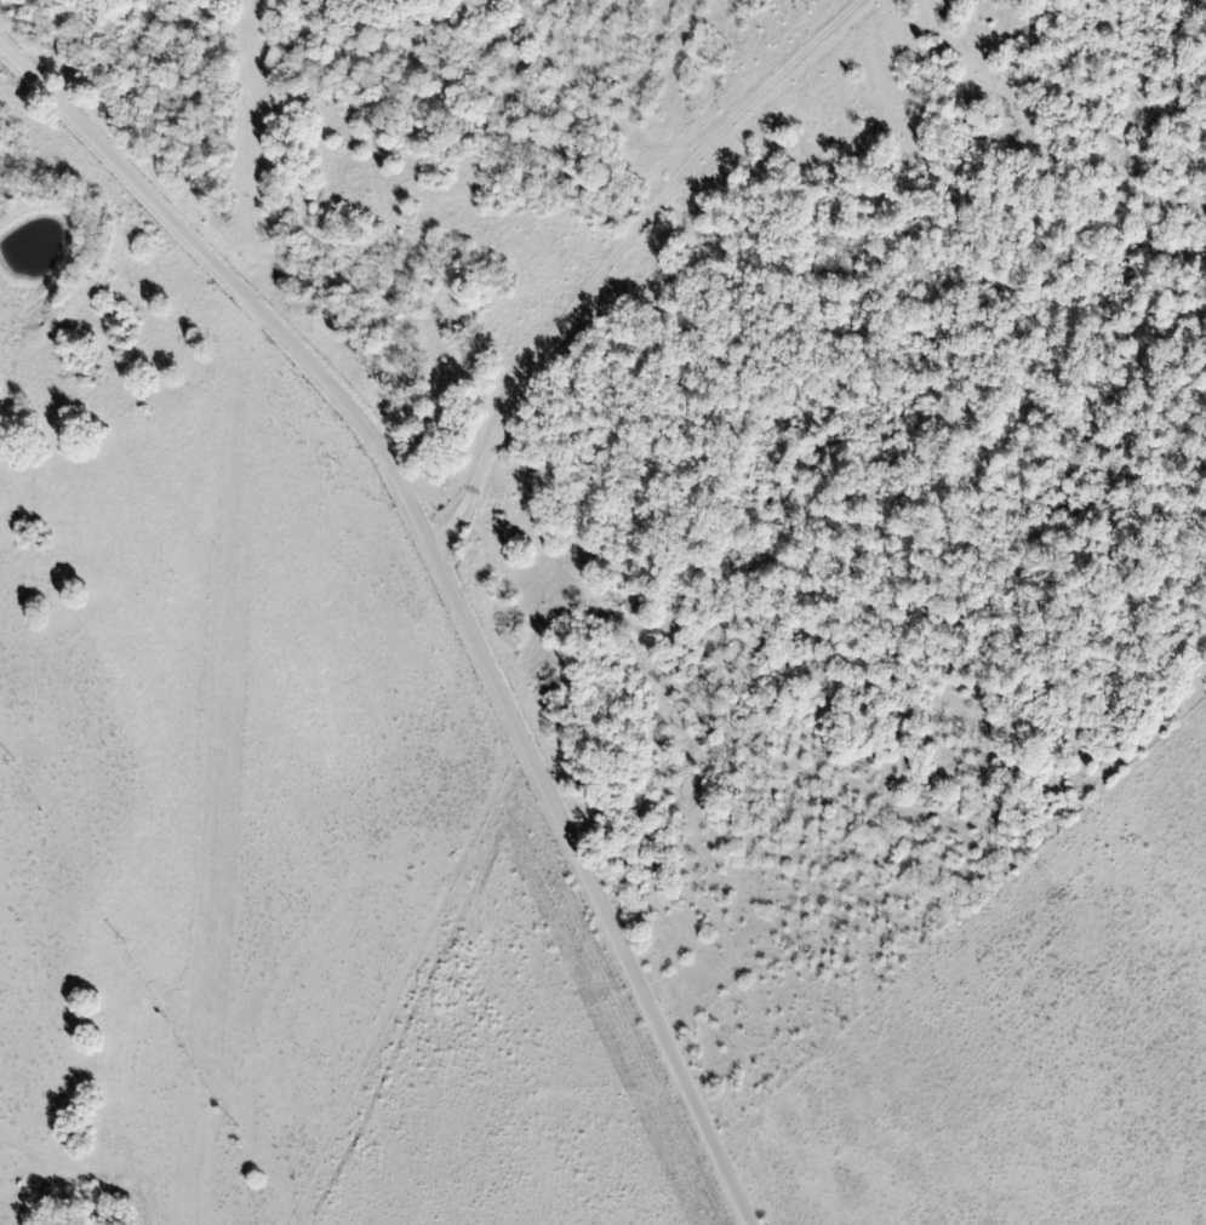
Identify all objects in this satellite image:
road: (612, 250)
road: (452, 579)

